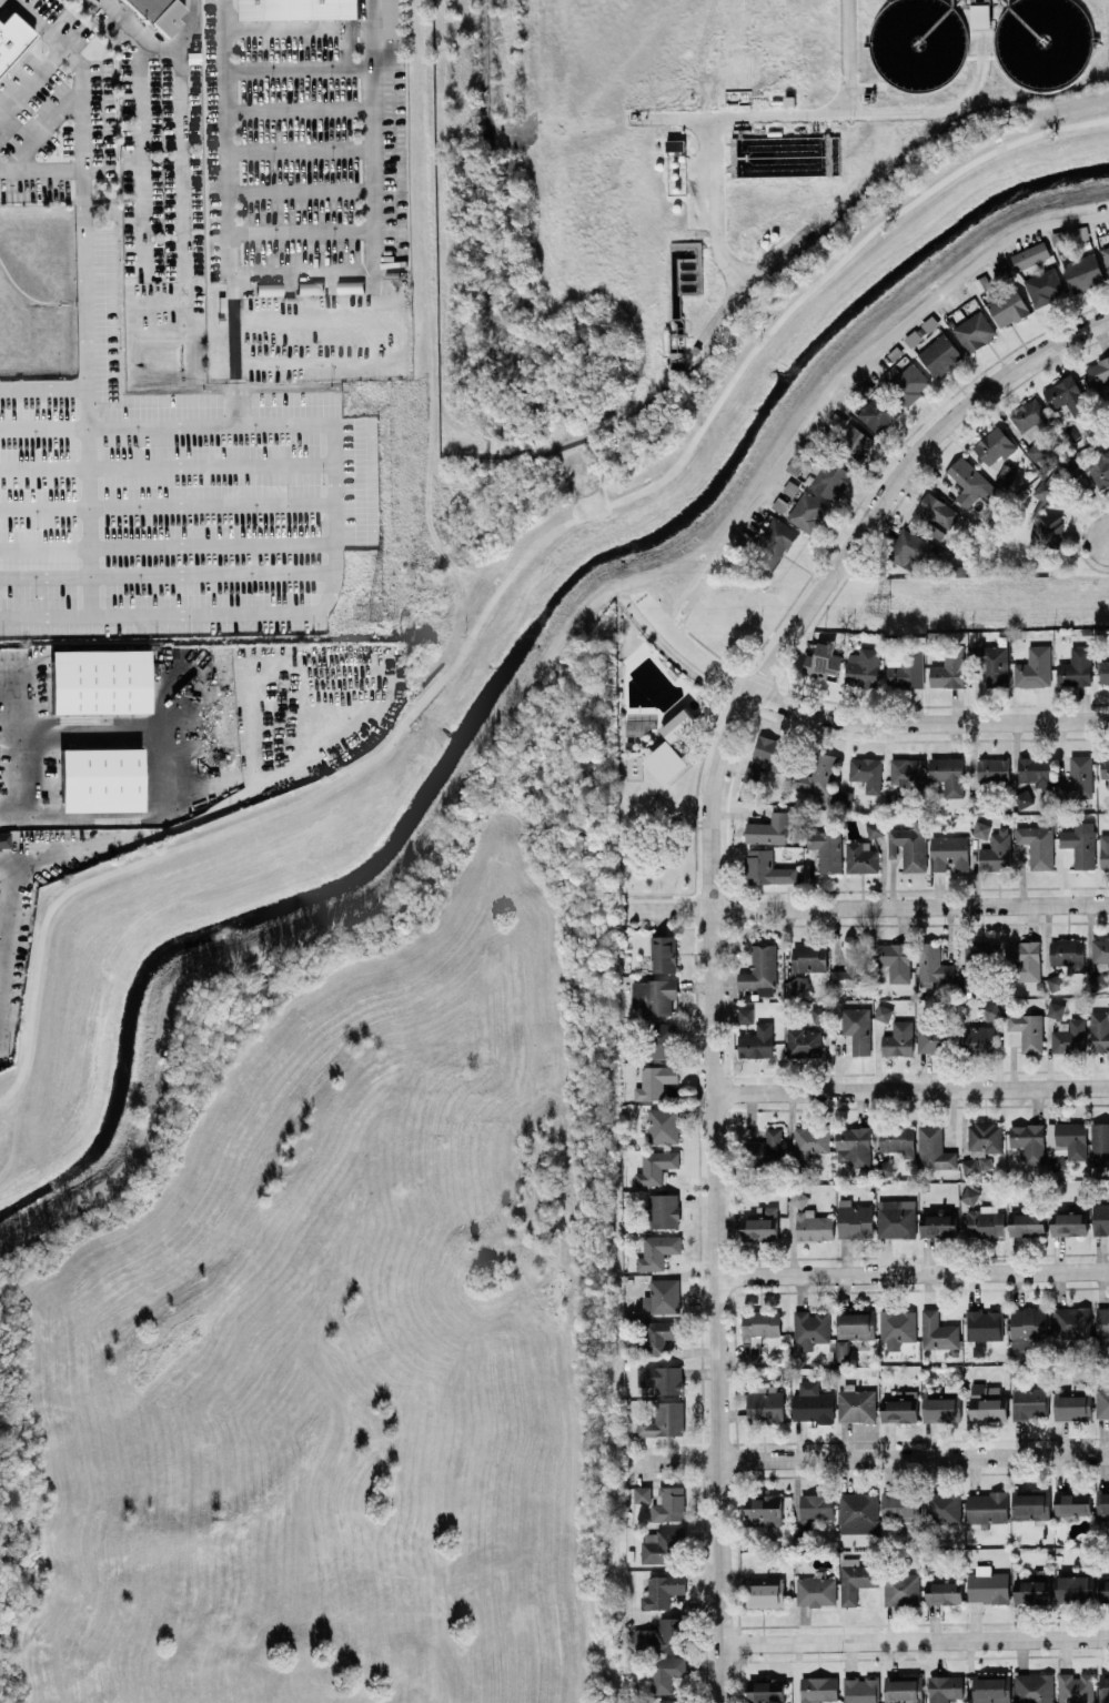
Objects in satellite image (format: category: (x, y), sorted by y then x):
building: (296, 9)
building: (158, 13)
building: (980, 14)
building: (392, 19)
road: (299, 28)
building: (11, 37)
road: (179, 37)
road: (349, 48)
road: (846, 57)
road: (300, 69)
road: (31, 80)
road: (82, 83)
road: (300, 110)
road: (813, 114)
road: (46, 129)
road: (143, 131)
road: (374, 135)
road: (301, 150)
road: (182, 159)
road: (41, 168)
wastewater plant: (680, 173)
road: (229, 179)
road: (302, 192)
road: (719, 204)
road: (303, 232)
building: (1029, 255)
building: (1106, 256)
building: (1083, 272)
road: (304, 273)
road: (752, 281)
building: (1044, 286)
building: (1007, 306)
building: (974, 331)
road: (404, 333)
building: (939, 354)
road: (234, 370)
road: (845, 372)
building: (1099, 373)
road: (85, 379)
building: (909, 383)
road: (43, 391)
building: (1067, 395)
road: (232, 402)
building: (880, 412)
building: (1030, 417)
building: (856, 441)
building: (994, 446)
building: (1036, 450)
building: (1091, 470)
road: (900, 475)
building: (1005, 475)
building: (830, 480)
building: (970, 482)
building: (807, 511)
building: (934, 516)
building: (1045, 518)
building: (773, 543)
building: (913, 551)
road: (507, 582)
power tower: (880, 604)
power tower: (374, 612)
building: (823, 662)
building: (992, 664)
river: (508, 665)
building: (1075, 666)
building: (863, 667)
building: (1034, 667)
building: (948, 668)
building: (906, 671)
building: (1103, 672)
building: (99, 681)
road: (853, 723)
building: (682, 724)
road: (162, 739)
building: (770, 752)
building: (668, 763)
building: (1105, 766)
building: (992, 769)
building: (1035, 769)
building: (907, 770)
building: (866, 773)
building: (948, 774)
building: (753, 775)
building: (818, 775)
building: (1077, 777)
building: (101, 778)
building: (1022, 797)
building: (844, 798)
building: (895, 799)
road: (8, 809)
building: (875, 828)
building: (768, 829)
building: (980, 829)
building: (4, 839)
building: (1080, 844)
building: (1037, 845)
building: (908, 846)
building: (826, 848)
building: (996, 850)
building: (1103, 850)
building: (949, 853)
building: (860, 857)
building: (765, 868)
road: (865, 907)
road: (8, 926)
building: (1100, 950)
building: (664, 953)
building: (981, 953)
building: (1067, 953)
building: (809, 957)
building: (1022, 958)
building: (895, 960)
building: (932, 965)
building: (850, 968)
building: (759, 970)
building: (1055, 981)
building: (797, 985)
building: (653, 996)
building: (1055, 1009)
building: (992, 1010)
building: (818, 1012)
building: (883, 1012)
building: (745, 1015)
building: (857, 1028)
building: (1098, 1030)
building: (1025, 1031)
building: (1070, 1037)
building: (898, 1038)
building: (976, 1038)
building: (663, 1039)
building: (931, 1039)
building: (756, 1041)
building: (803, 1042)
building: (654, 1081)
road: (911, 1090)
building: (663, 1125)
building: (985, 1136)
building: (896, 1138)
building: (810, 1140)
building: (1028, 1141)
building: (1066, 1142)
building: (766, 1143)
building: (1099, 1143)
building: (853, 1145)
building: (934, 1149)
building: (985, 1161)
building: (655, 1166)
building: (970, 1166)
building: (885, 1167)
road: (715, 1192)
building: (969, 1195)
building: (798, 1198)
building: (663, 1209)
building: (895, 1218)
building: (854, 1219)
building: (1100, 1219)
building: (985, 1221)
building: (1026, 1222)
building: (1068, 1222)
building: (760, 1223)
building: (938, 1225)
building: (813, 1226)
building: (656, 1251)
road: (913, 1274)
building: (662, 1296)
building: (1102, 1320)
building: (1070, 1321)
building: (855, 1324)
building: (984, 1324)
building: (1027, 1326)
building: (897, 1327)
building: (809, 1328)
building: (757, 1331)
building: (938, 1331)
building: (658, 1334)
building: (840, 1349)
building: (661, 1378)
building: (1028, 1402)
building: (1101, 1402)
building: (811, 1403)
building: (986, 1403)
building: (856, 1404)
building: (765, 1407)
building: (938, 1407)
building: (1071, 1407)
building: (899, 1410)
building: (663, 1420)
road: (867, 1458)
building: (642, 1493)
building: (1072, 1501)
building: (669, 1503)
building: (1102, 1504)
building: (1030, 1505)
building: (816, 1506)
building: (899, 1506)
building: (942, 1506)
building: (987, 1506)
building: (763, 1510)
building: (858, 1512)
building: (661, 1546)
building: (855, 1579)
building: (987, 1585)
building: (1073, 1588)
building: (901, 1589)
building: (662, 1590)
building: (816, 1590)
building: (1032, 1590)
building: (1103, 1590)
building: (765, 1592)
building: (944, 1592)
building: (662, 1635)
road: (916, 1639)
building: (664, 1672)
building: (1103, 1686)
building: (944, 1687)
building: (1034, 1687)
building: (1076, 1687)
building: (765, 1689)
building: (860, 1689)
building: (991, 1690)
building: (671, 1701)

